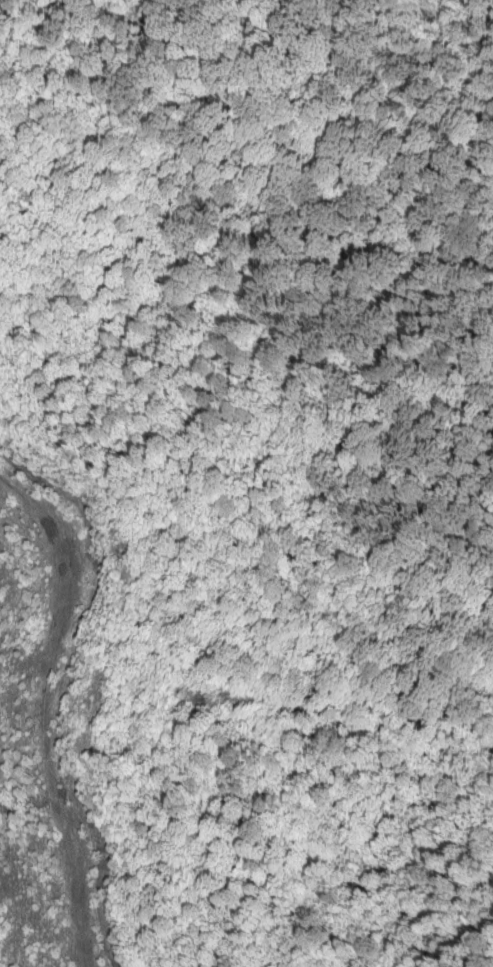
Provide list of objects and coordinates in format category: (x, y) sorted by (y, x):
quarry: (51, 747)

